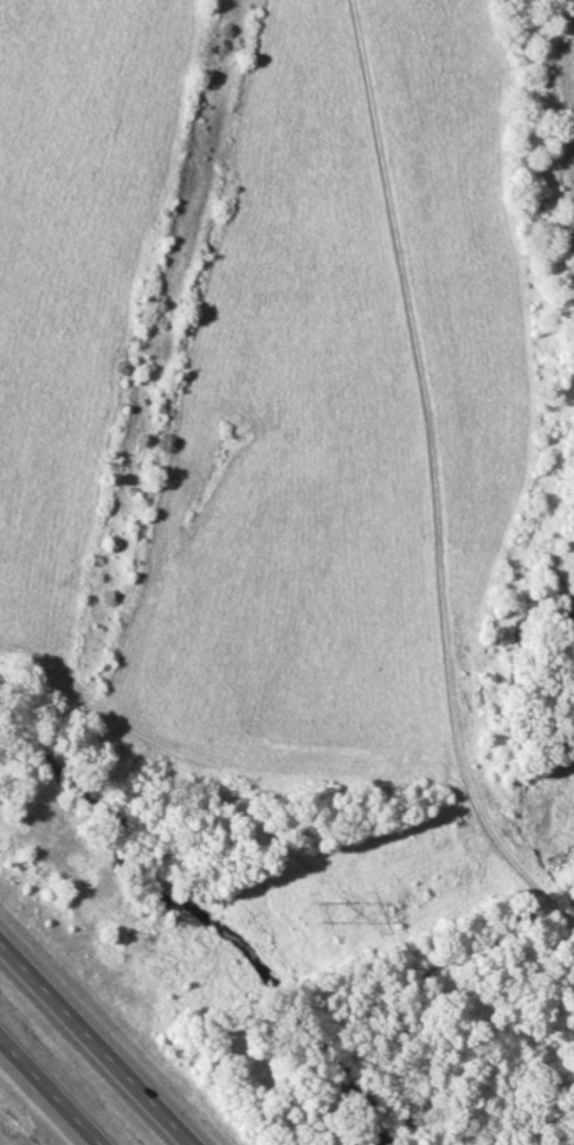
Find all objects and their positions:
road: (433, 477)
power tower: (312, 909)
road: (103, 1037)
road: (52, 1089)

